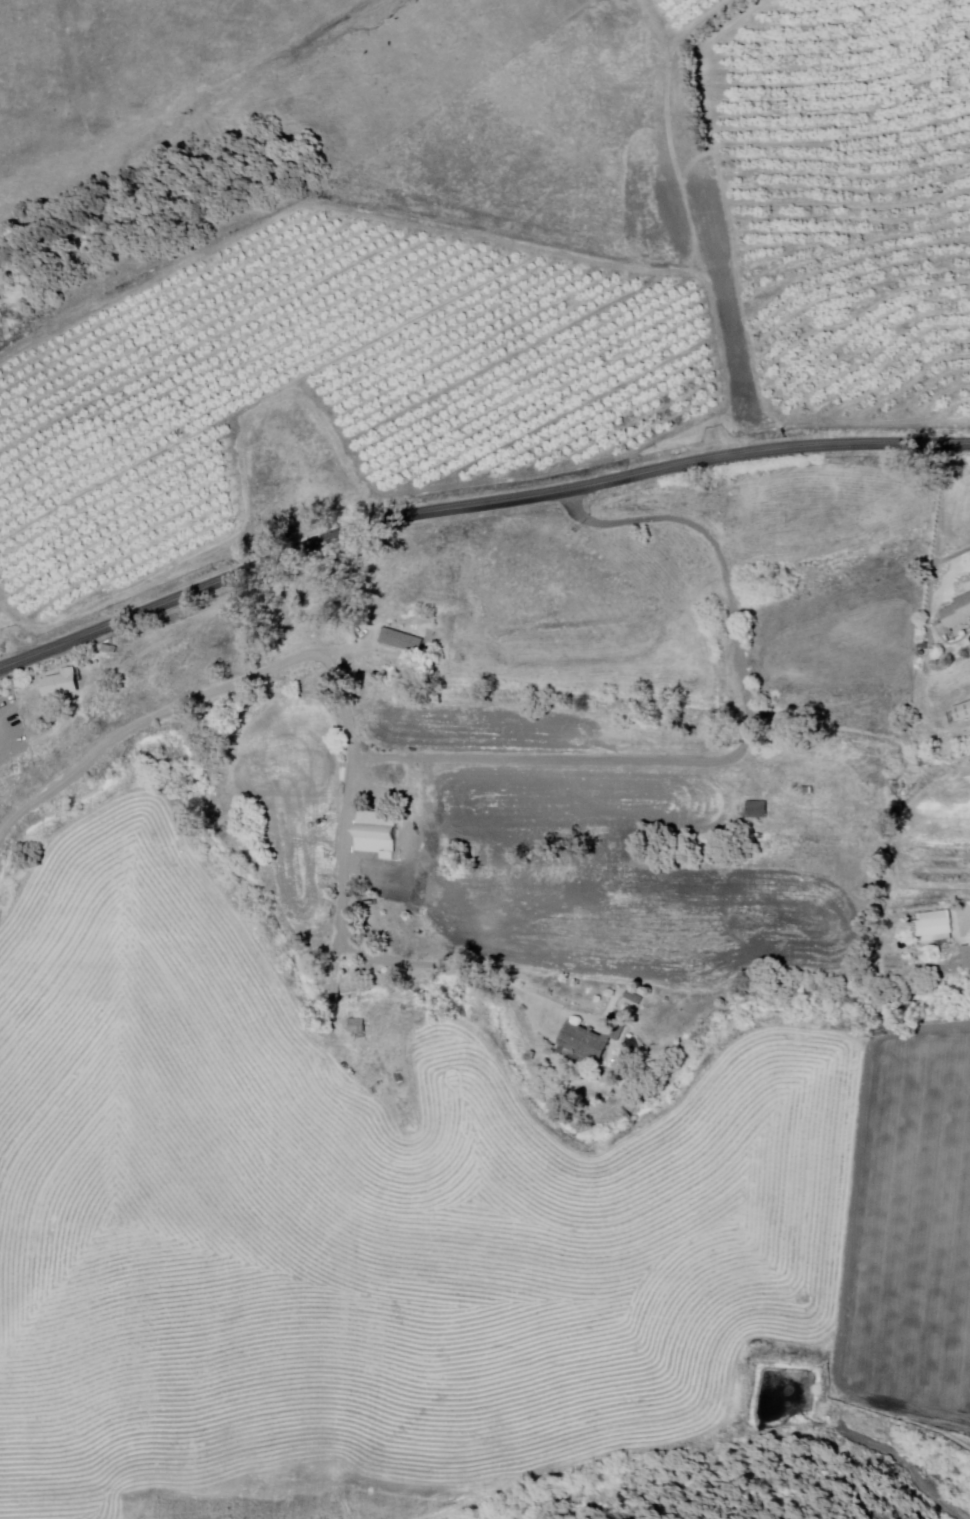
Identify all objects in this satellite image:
road: (473, 505)
crop: (819, 517)
building: (954, 617)
crop: (844, 632)
building: (400, 641)
building: (110, 650)
building: (60, 685)
road: (338, 694)
building: (961, 714)
crop: (511, 734)
road: (545, 763)
building: (757, 810)
building: (377, 835)
crop: (936, 863)
crop: (620, 880)
crop: (115, 919)
building: (933, 927)
building: (966, 956)
building: (334, 994)
building: (633, 998)
building: (356, 1024)
building: (591, 1041)
crop: (458, 1082)
crop: (256, 1138)
crop: (746, 1174)
crop: (914, 1236)
crop: (322, 1374)

